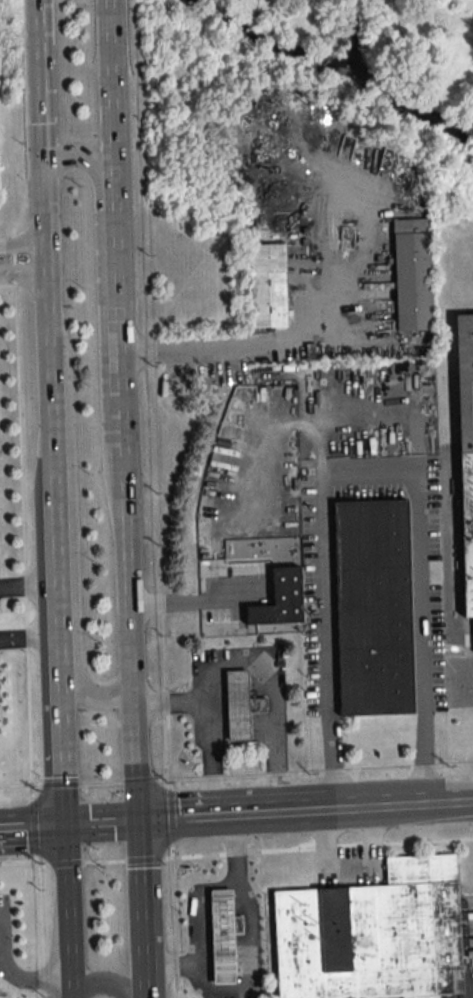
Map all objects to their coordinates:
traffic signals: (42, 158)
road: (26, 240)
road: (12, 265)
building: (410, 275)
road: (28, 281)
building: (269, 284)
road: (45, 302)
road: (101, 318)
road: (252, 345)
building: (463, 384)
road: (120, 412)
road: (367, 478)
road: (69, 520)
road: (36, 584)
building: (280, 599)
road: (194, 600)
building: (371, 607)
road: (28, 637)
road: (257, 661)
road: (471, 681)
building: (236, 703)
road: (61, 716)
road: (210, 760)
road: (397, 808)
road: (302, 814)
road: (247, 817)
road: (175, 821)
traffic signals: (137, 824)
road: (101, 826)
traffic signals: (66, 828)
road: (33, 829)
road: (199, 905)
road: (69, 906)
road: (140, 911)
building: (221, 935)
building: (372, 935)
road: (251, 969)
road: (13, 970)
road: (101, 982)
road: (72, 991)

